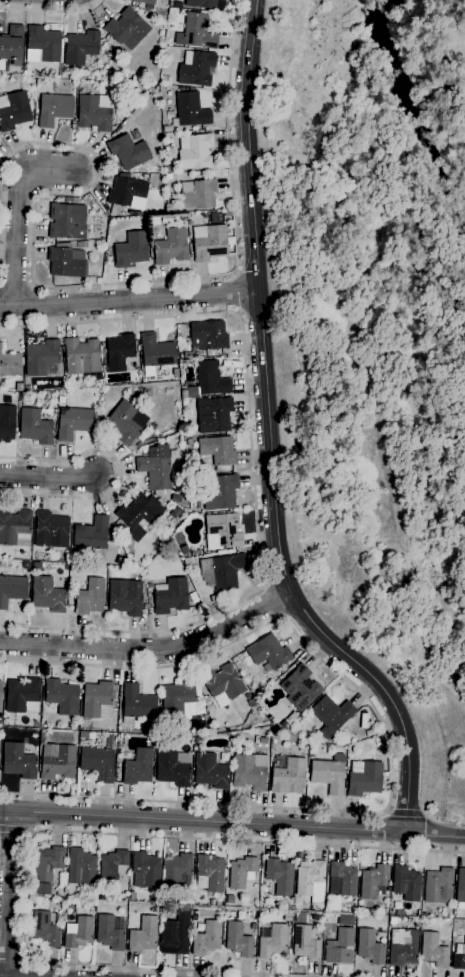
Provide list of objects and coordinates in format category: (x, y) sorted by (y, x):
building: (144, 2)
building: (201, 4)
building: (177, 5)
building: (171, 11)
road: (52, 12)
building: (127, 29)
building: (198, 31)
building: (12, 45)
building: (42, 45)
building: (80, 48)
building: (196, 68)
building: (78, 70)
building: (165, 79)
building: (54, 109)
building: (13, 111)
building: (190, 111)
building: (95, 112)
river: (418, 124)
building: (167, 129)
building: (128, 152)
building: (195, 152)
building: (168, 170)
building: (145, 176)
building: (168, 177)
building: (186, 187)
building: (128, 193)
building: (199, 196)
road: (18, 210)
building: (215, 218)
building: (182, 219)
building: (65, 220)
building: (209, 242)
building: (82, 245)
building: (171, 248)
building: (131, 250)
building: (108, 259)
building: (67, 261)
road: (107, 285)
road: (237, 293)
road: (130, 300)
building: (208, 336)
park: (374, 340)
building: (103, 351)
building: (119, 352)
building: (155, 354)
building: (81, 356)
building: (187, 356)
building: (41, 357)
building: (10, 365)
building: (211, 380)
building: (99, 383)
building: (26, 388)
building: (59, 392)
building: (184, 396)
building: (62, 400)
building: (214, 415)
building: (7, 422)
building: (73, 422)
building: (125, 422)
building: (35, 427)
building: (192, 433)
road: (270, 439)
building: (189, 442)
building: (138, 446)
building: (218, 453)
road: (253, 466)
road: (120, 474)
building: (156, 475)
road: (48, 478)
building: (221, 493)
building: (140, 515)
building: (15, 526)
building: (50, 530)
building: (222, 532)
building: (92, 534)
building: (187, 561)
building: (26, 565)
building: (83, 570)
building: (223, 570)
building: (12, 589)
building: (47, 595)
building: (171, 596)
building: (90, 597)
building: (126, 597)
building: (214, 599)
road: (275, 602)
road: (151, 649)
building: (269, 654)
building: (223, 684)
building: (299, 688)
building: (0, 694)
building: (22, 696)
building: (62, 696)
building: (177, 697)
building: (97, 700)
building: (253, 702)
building: (137, 704)
building: (330, 715)
building: (291, 718)
building: (75, 733)
building: (370, 733)
building: (84, 735)
building: (12, 737)
building: (42, 739)
building: (197, 741)
building: (262, 741)
road: (387, 742)
building: (310, 754)
building: (19, 760)
building: (58, 763)
building: (98, 763)
building: (138, 767)
building: (172, 768)
building: (210, 771)
building: (250, 772)
building: (287, 774)
building: (329, 774)
building: (364, 778)
road: (405, 813)
road: (232, 823)
road: (50, 831)
road: (15, 833)
building: (112, 864)
building: (47, 867)
building: (80, 870)
building: (177, 870)
building: (145, 871)
building: (241, 872)
building: (210, 874)
building: (279, 876)
building: (342, 879)
building: (311, 880)
building: (374, 882)
building: (406, 883)
building: (438, 885)
building: (460, 888)
road: (8, 893)
building: (60, 893)
building: (132, 896)
building: (31, 899)
building: (230, 900)
building: (212, 903)
building: (219, 903)
building: (166, 909)
building: (401, 913)
building: (194, 916)
building: (286, 917)
building: (303, 918)
building: (346, 920)
building: (423, 922)
building: (253, 927)
building: (46, 928)
building: (80, 933)
building: (109, 933)
building: (175, 934)
building: (143, 935)
building: (207, 938)
building: (238, 940)
building: (272, 941)
building: (306, 943)
building: (340, 947)
building: (370, 947)
building: (402, 947)
building: (433, 951)
building: (459, 957)

